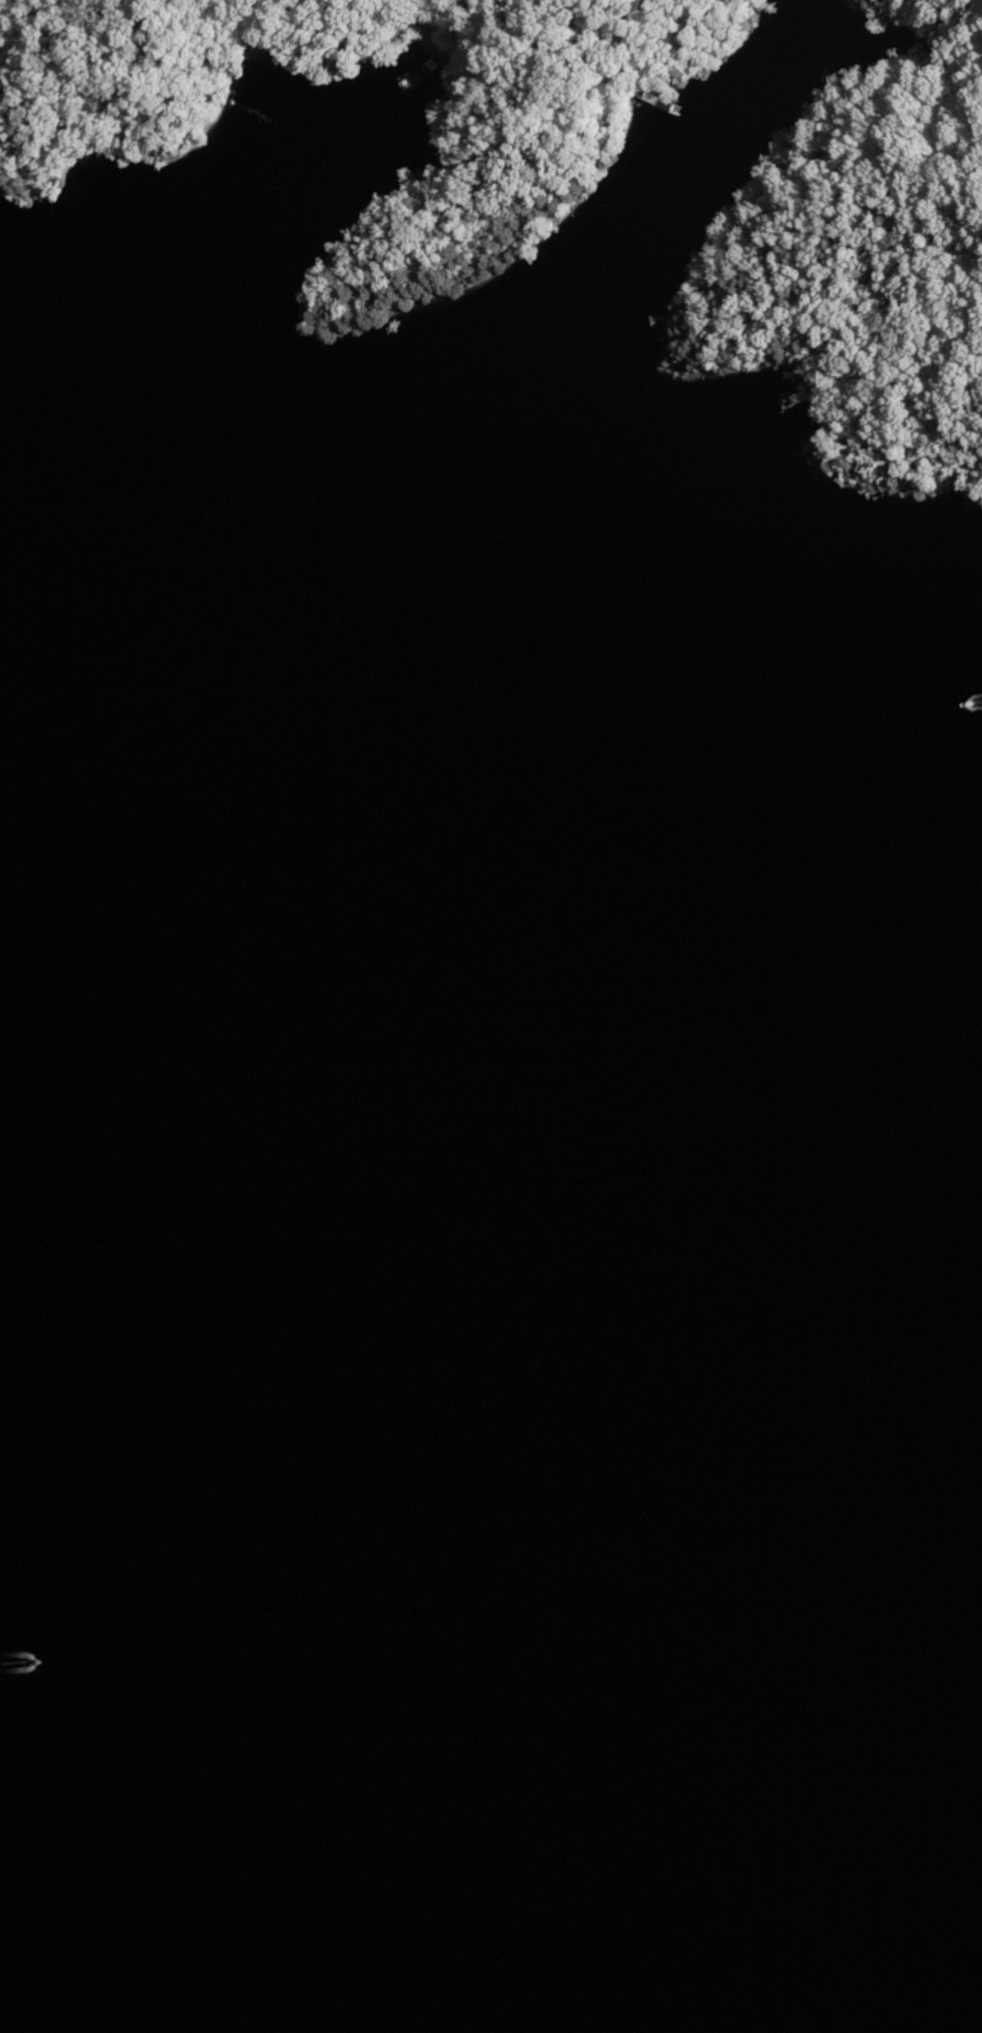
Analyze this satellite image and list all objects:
river: (491, 1498)

